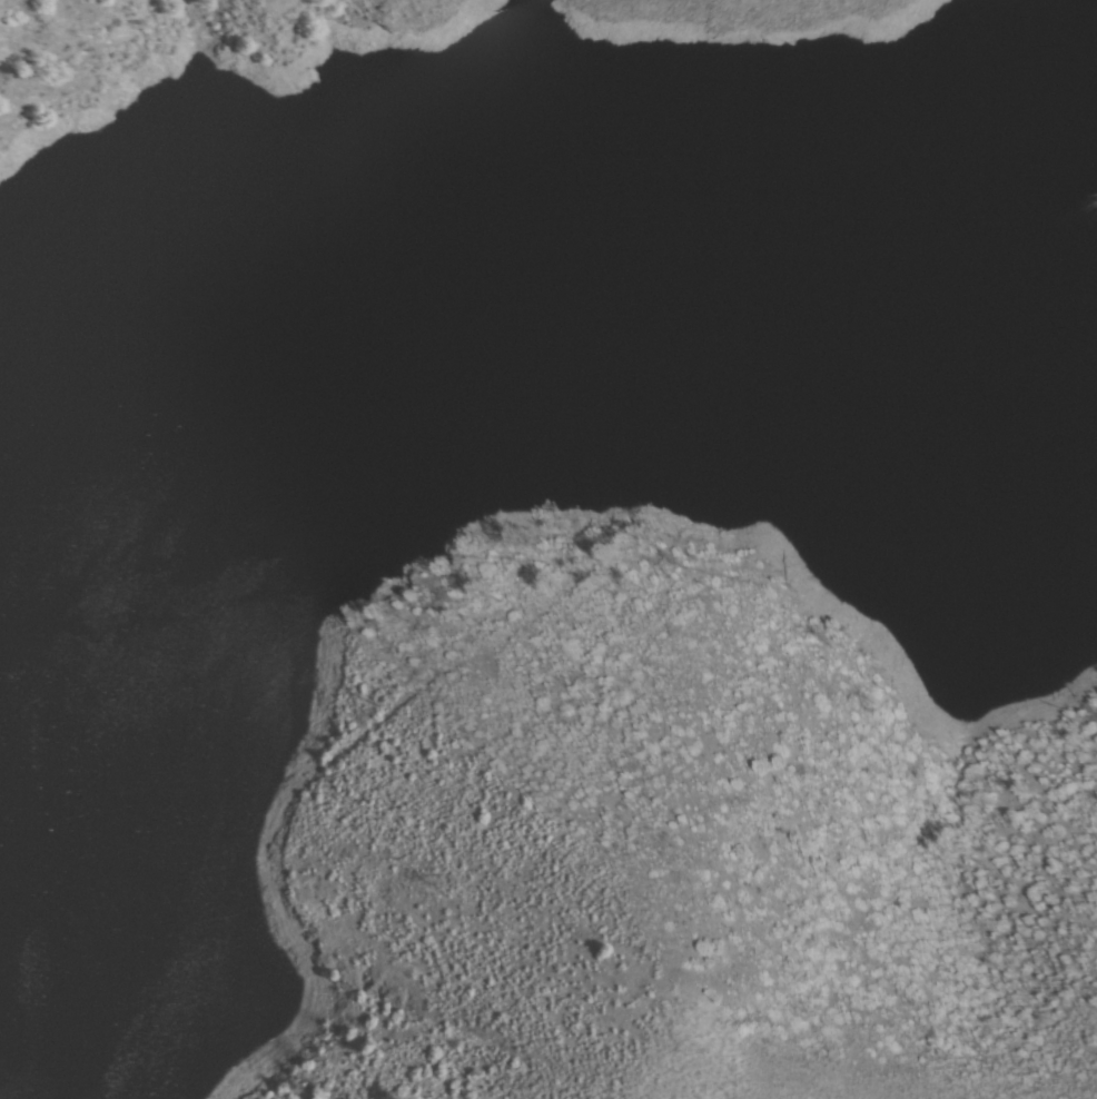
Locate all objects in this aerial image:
river: (506, 218)

